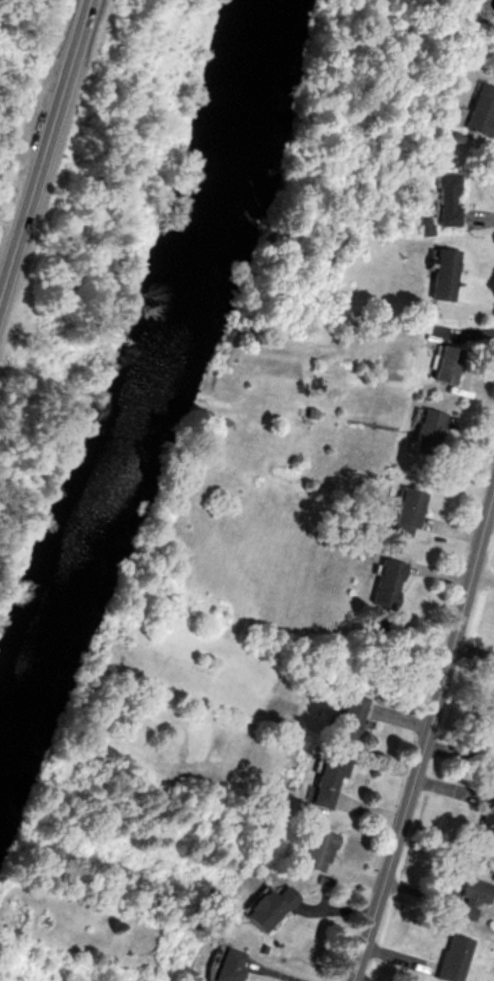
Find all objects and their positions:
building: (479, 113)
road: (43, 141)
road: (15, 176)
building: (446, 202)
road: (9, 218)
building: (442, 276)
river: (132, 337)
building: (446, 367)
building: (427, 435)
building: (406, 515)
building: (386, 586)
building: (340, 719)
road: (423, 730)
building: (322, 779)
building: (484, 822)
building: (312, 849)
building: (469, 896)
building: (263, 904)
building: (449, 958)
building: (222, 965)

